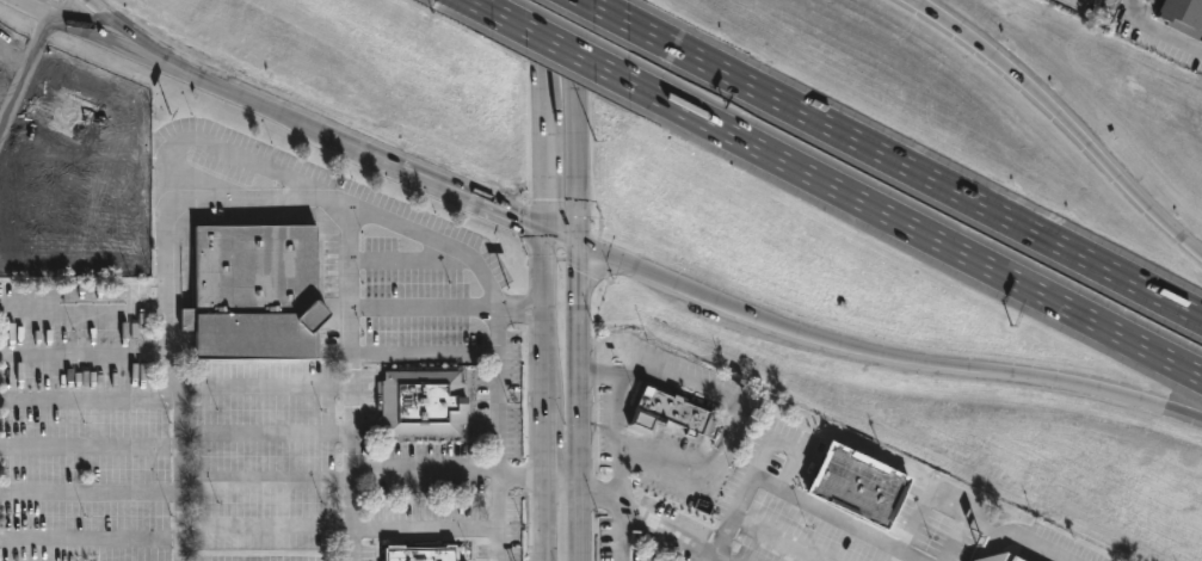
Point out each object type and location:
road: (92, 5)
road: (482, 5)
road: (33, 7)
road: (608, 11)
building: (1179, 14)
road: (577, 16)
road: (1159, 27)
road: (129, 33)
road: (38, 37)
road: (542, 43)
road: (561, 45)
road: (197, 75)
road: (14, 94)
building: (69, 112)
road: (1064, 121)
road: (118, 130)
road: (190, 140)
road: (541, 156)
road: (916, 169)
road: (460, 193)
traffic signals: (540, 227)
road: (916, 229)
traffic signals: (575, 241)
road: (575, 253)
road: (473, 259)
building: (253, 292)
road: (540, 302)
road: (421, 307)
road: (517, 308)
road: (166, 350)
road: (881, 352)
road: (423, 353)
building: (420, 401)
building: (673, 414)
road: (540, 426)
road: (723, 445)
road: (90, 446)
road: (425, 470)
road: (350, 471)
road: (519, 473)
road: (559, 475)
road: (620, 476)
building: (861, 485)
road: (742, 501)
road: (578, 516)
road: (969, 516)
road: (540, 518)
road: (265, 526)
road: (425, 526)
road: (621, 531)
parking lot: (794, 536)
road: (90, 540)
building: (421, 553)
road: (720, 556)
building: (982, 557)
building: (1012, 557)
road: (579, 559)

